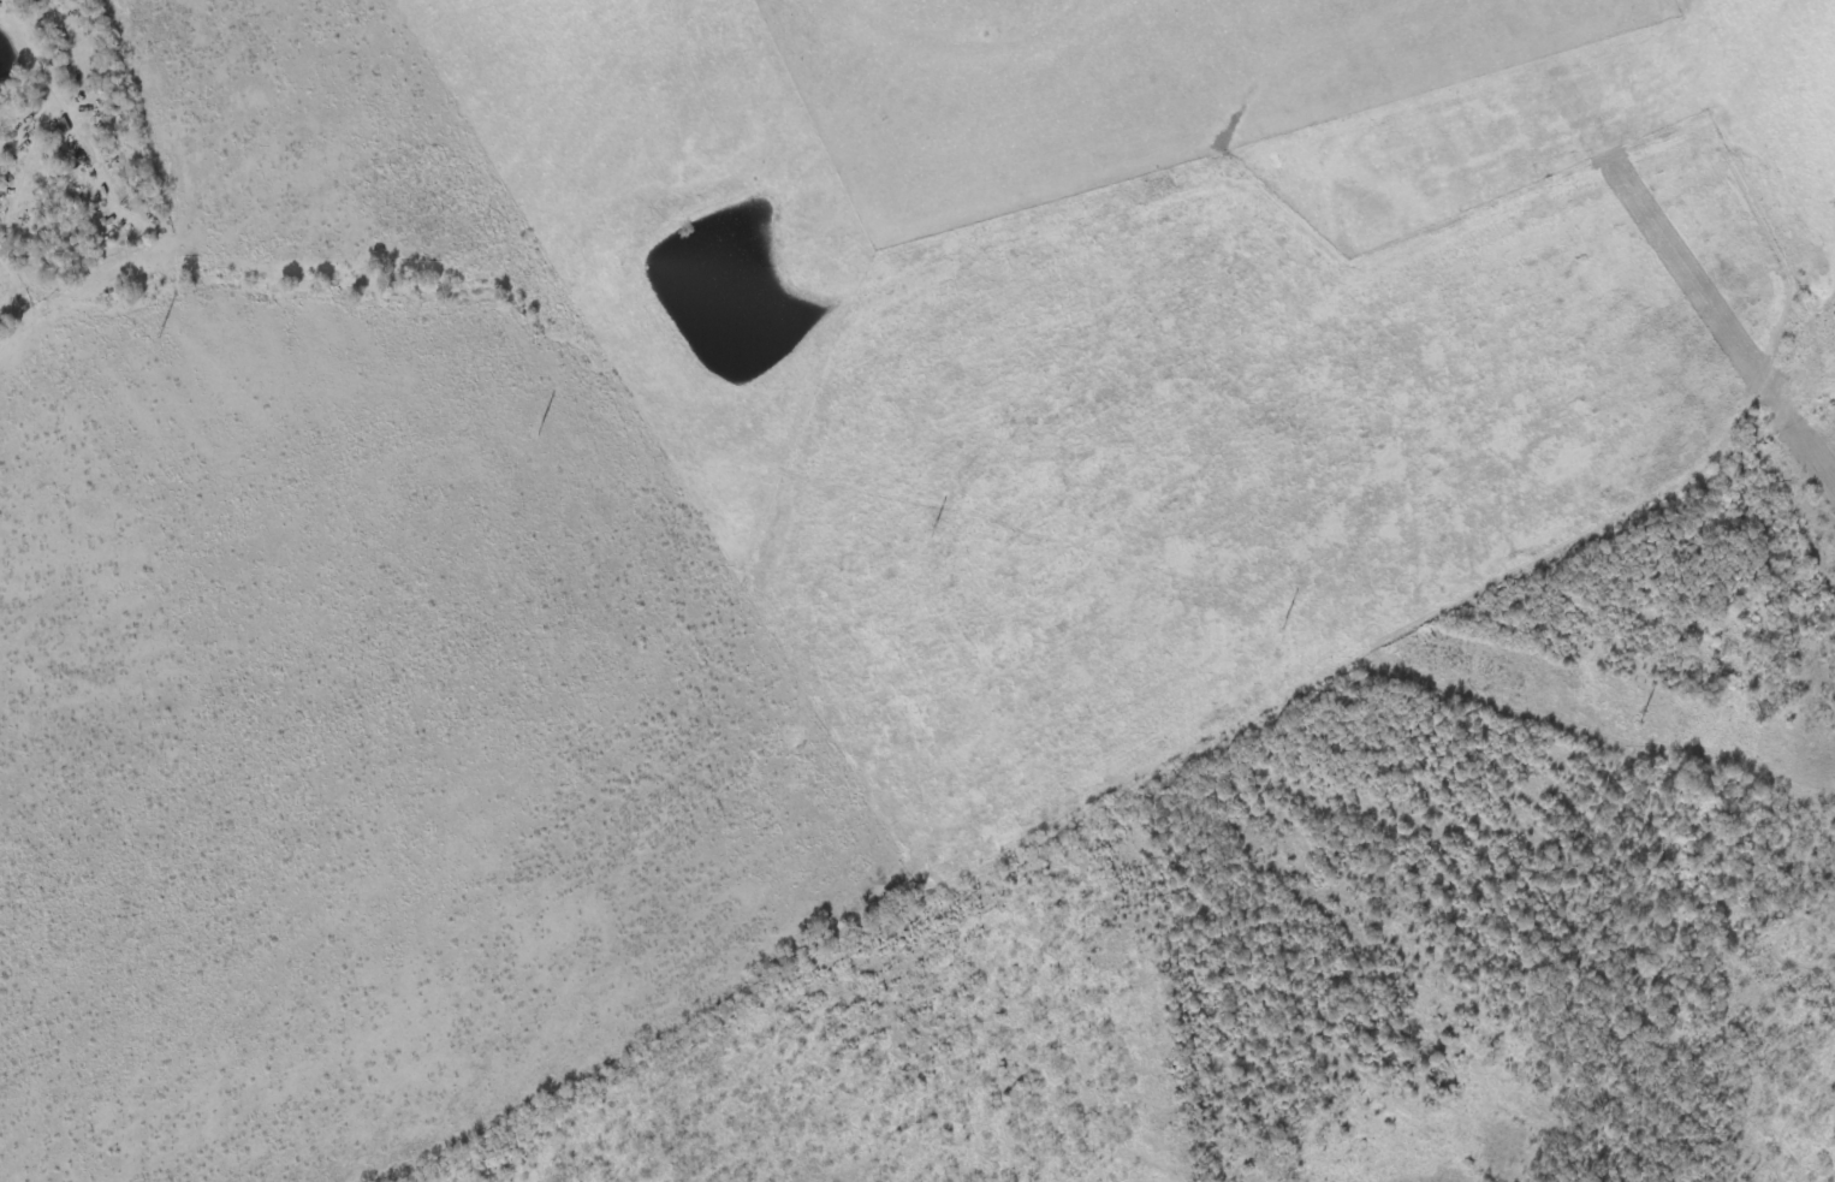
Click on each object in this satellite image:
power tower: (161, 331)
power tower: (540, 428)
power tower: (932, 530)
power tower: (1285, 622)
power tower: (1643, 714)

